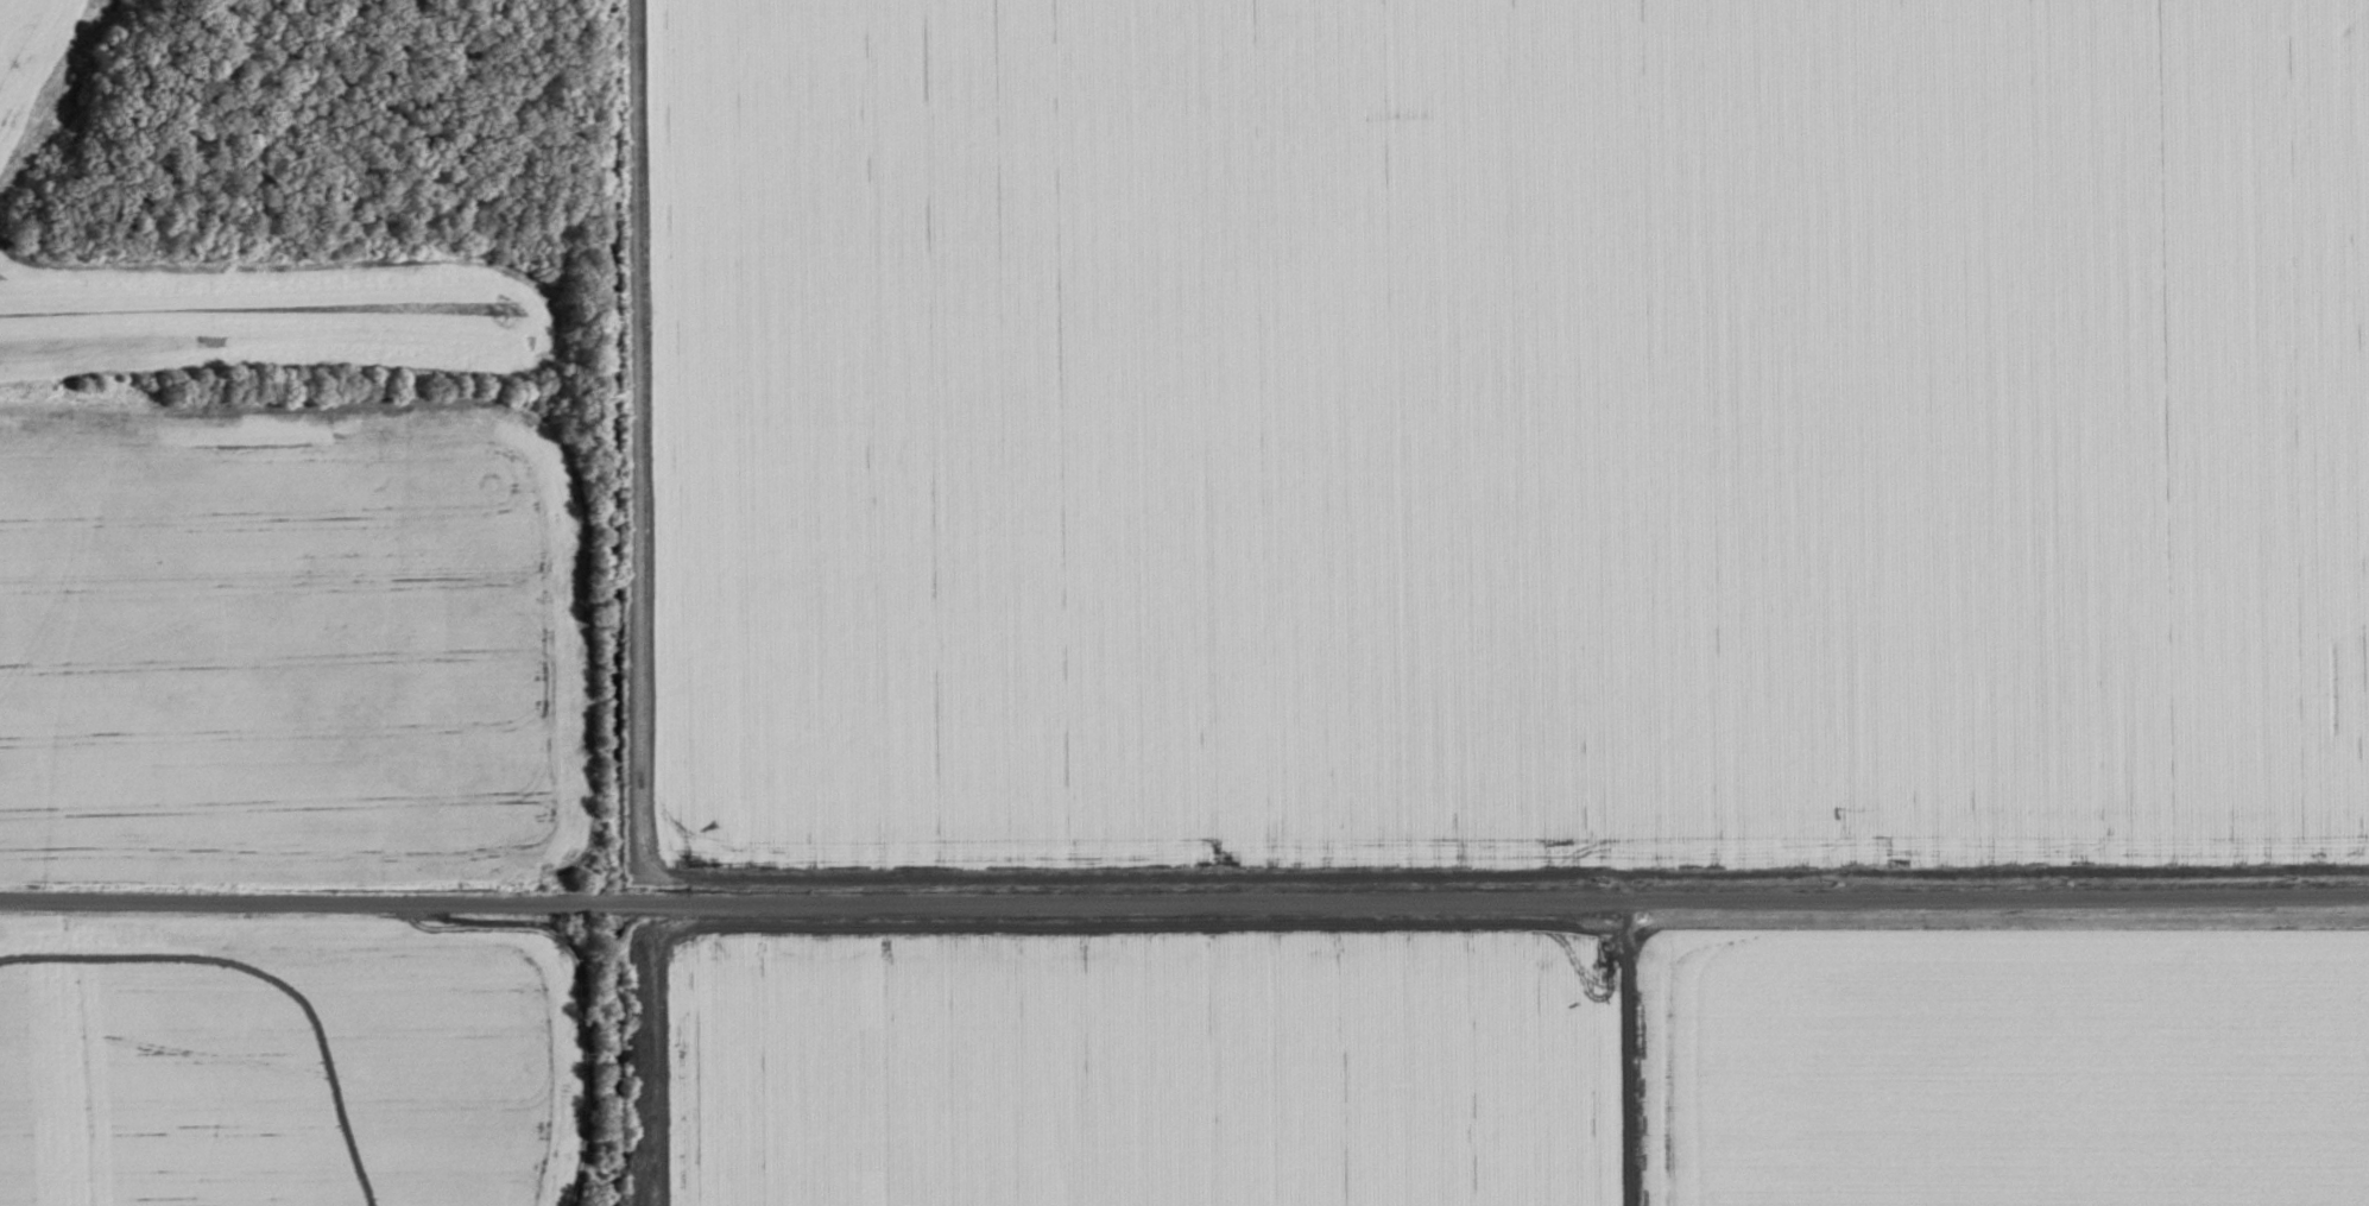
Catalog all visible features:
road: (1184, 903)

